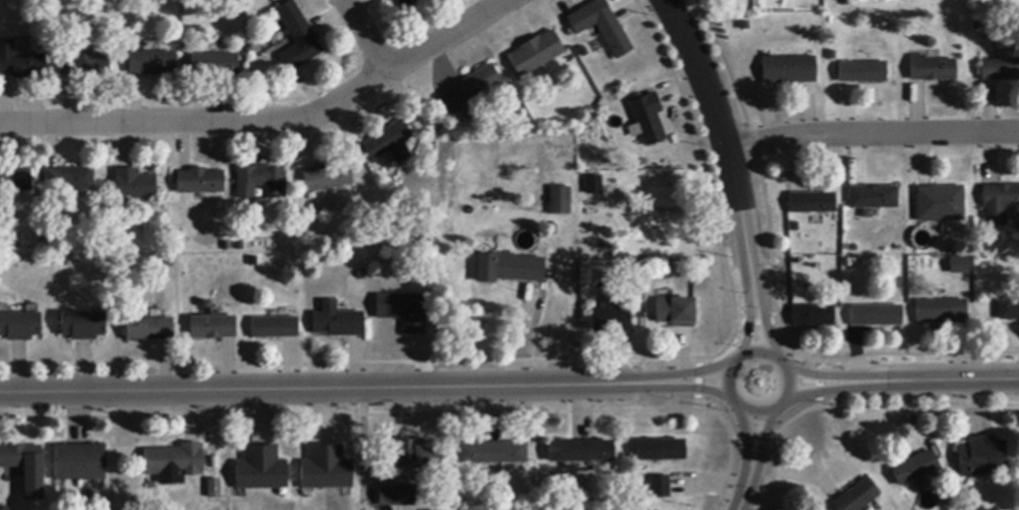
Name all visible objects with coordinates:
building: (408, 2)
building: (600, 27)
road: (368, 35)
building: (297, 38)
building: (535, 54)
building: (19, 62)
building: (153, 63)
building: (85, 64)
building: (214, 64)
building: (931, 69)
building: (788, 70)
building: (1000, 70)
building: (861, 73)
building: (472, 91)
building: (648, 119)
road: (270, 121)
road: (872, 134)
road: (724, 142)
building: (391, 143)
building: (326, 178)
building: (15, 180)
building: (69, 180)
building: (200, 182)
building: (260, 182)
building: (591, 183)
building: (135, 184)
building: (872, 198)
building: (559, 201)
building: (942, 202)
building: (812, 203)
building: (998, 203)
building: (988, 245)
building: (957, 264)
building: (106, 269)
building: (508, 269)
building: (402, 310)
building: (940, 311)
building: (1008, 311)
building: (675, 312)
building: (813, 316)
building: (876, 316)
building: (609, 320)
building: (337, 322)
road: (752, 325)
road: (764, 325)
building: (20, 326)
building: (83, 326)
building: (213, 328)
building: (274, 328)
building: (149, 330)
road: (758, 350)
road: (700, 374)
road: (817, 377)
road: (933, 381)
road: (331, 385)
road: (698, 385)
road: (814, 390)
road: (748, 434)
road: (763, 435)
building: (660, 450)
building: (580, 452)
building: (409, 453)
building: (492, 453)
building: (20, 456)
building: (981, 457)
building: (175, 462)
building: (79, 463)
building: (260, 469)
building: (325, 469)
building: (914, 469)
building: (660, 487)
road: (745, 488)
building: (214, 489)
building: (396, 497)
building: (858, 497)

